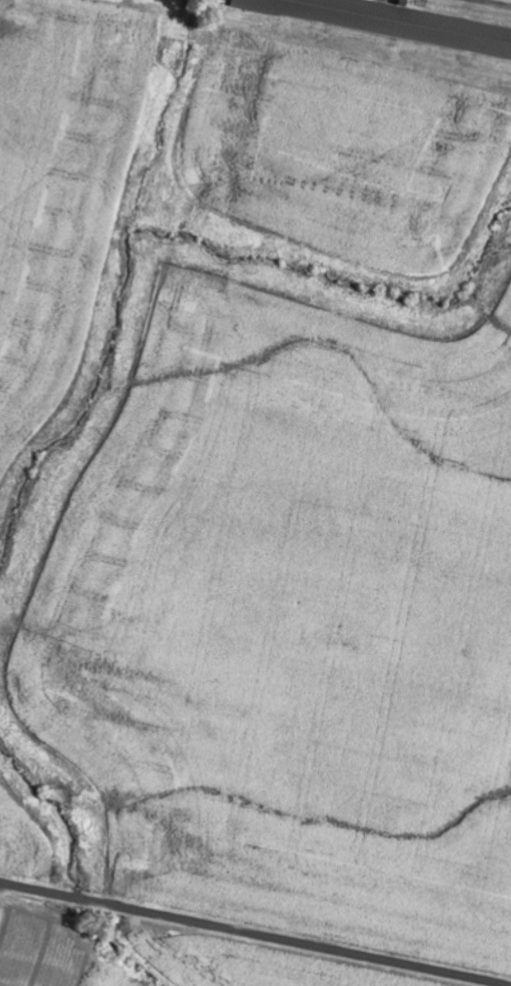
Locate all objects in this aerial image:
building: (388, 22)
road: (254, 935)

